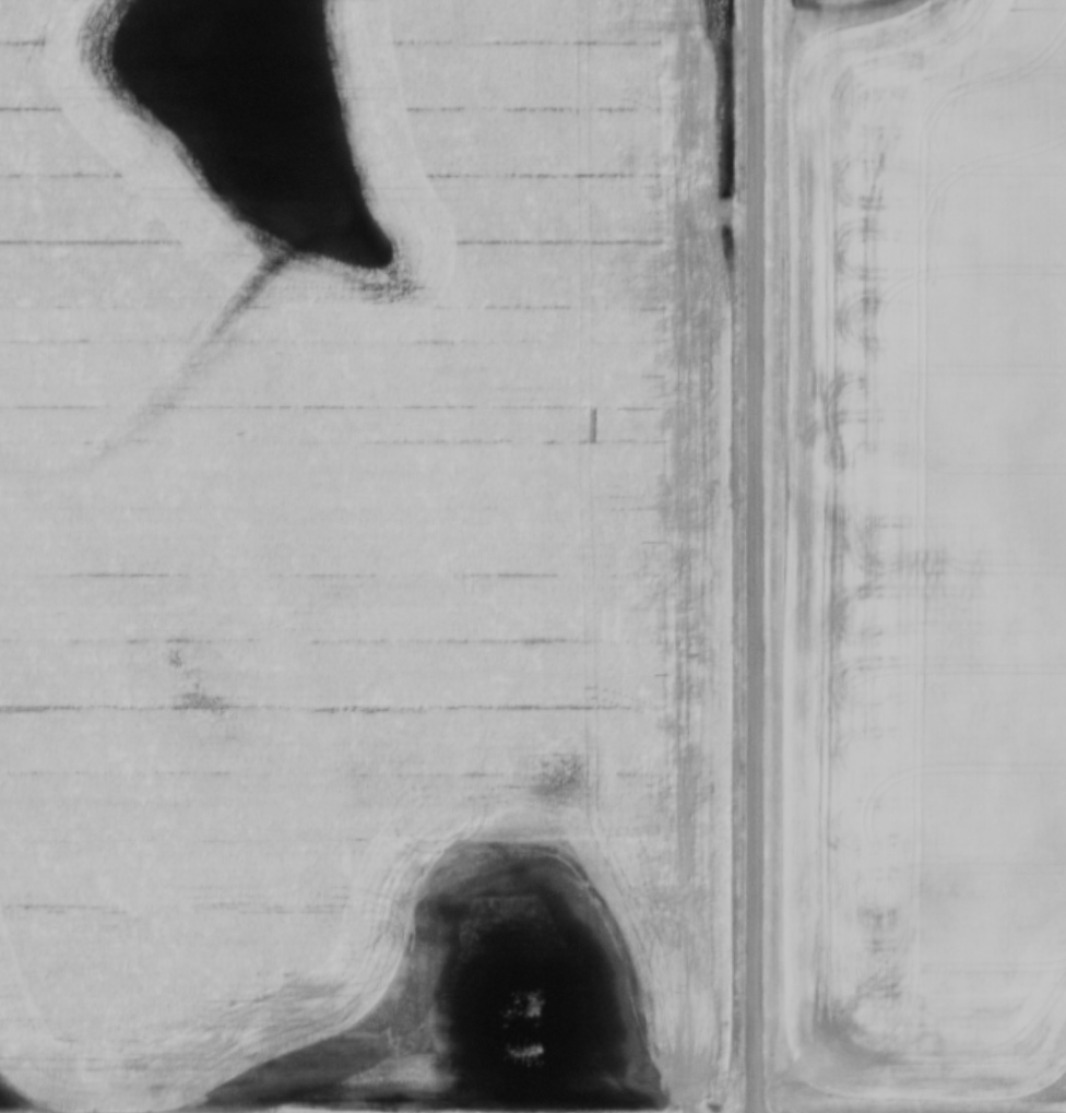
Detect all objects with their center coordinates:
road: (756, 556)

